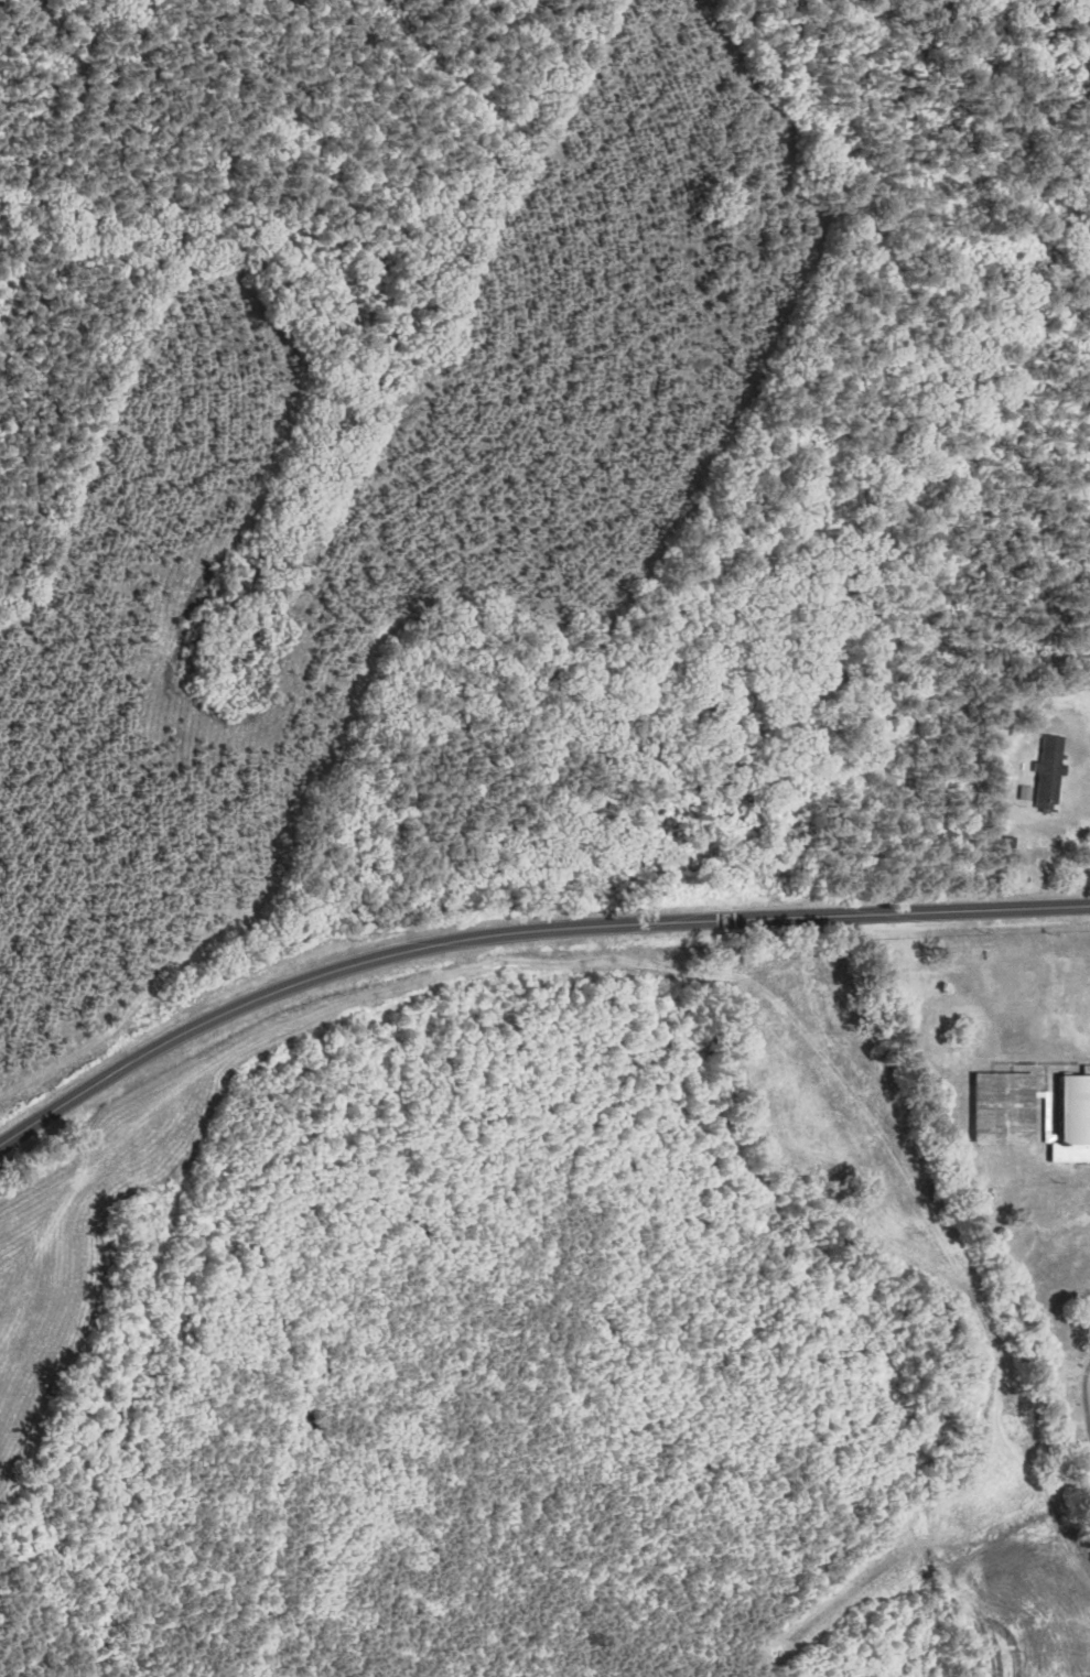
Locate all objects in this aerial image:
building: (1048, 772)
road: (520, 931)
building: (1007, 1108)
building: (1076, 1121)

